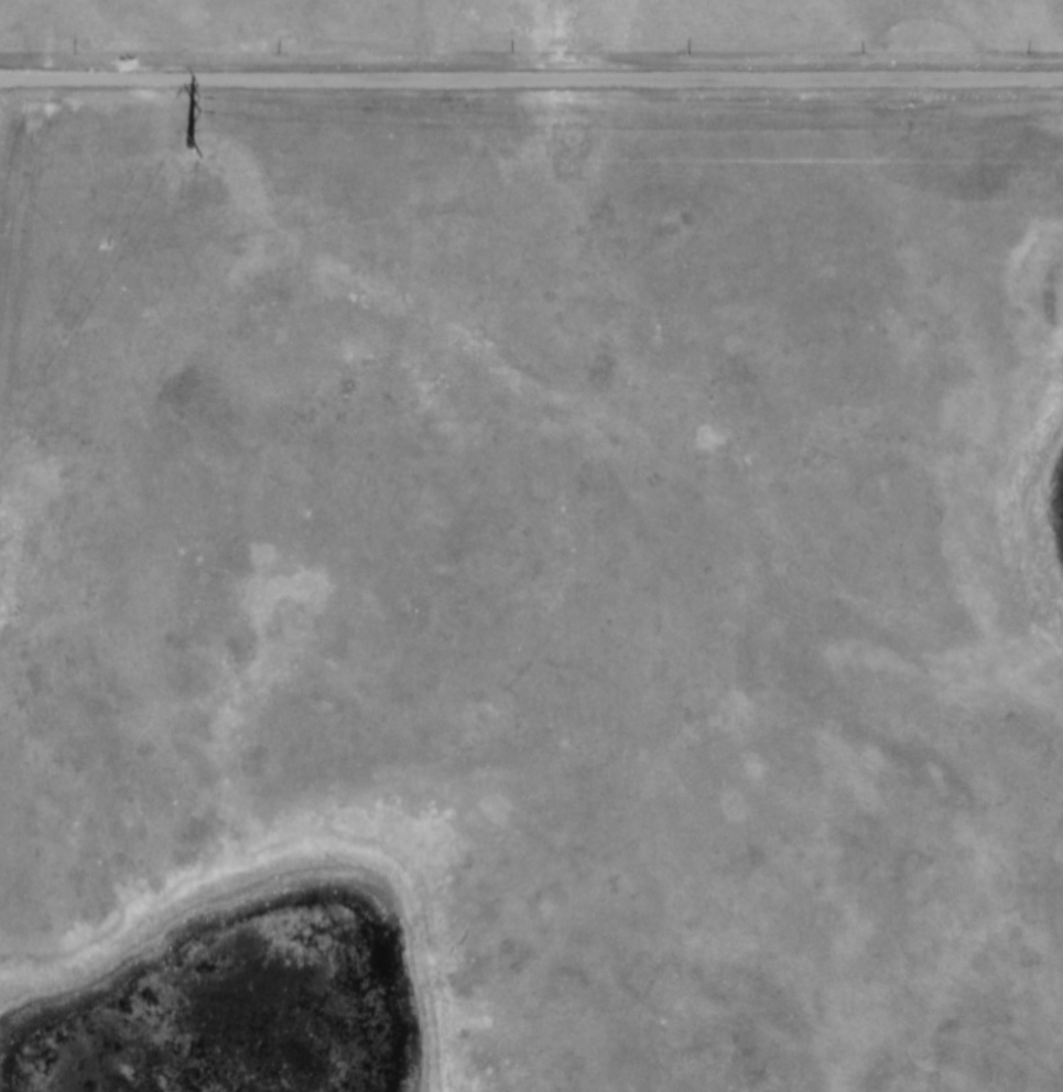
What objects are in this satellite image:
road: (531, 75)
power tower: (194, 131)

